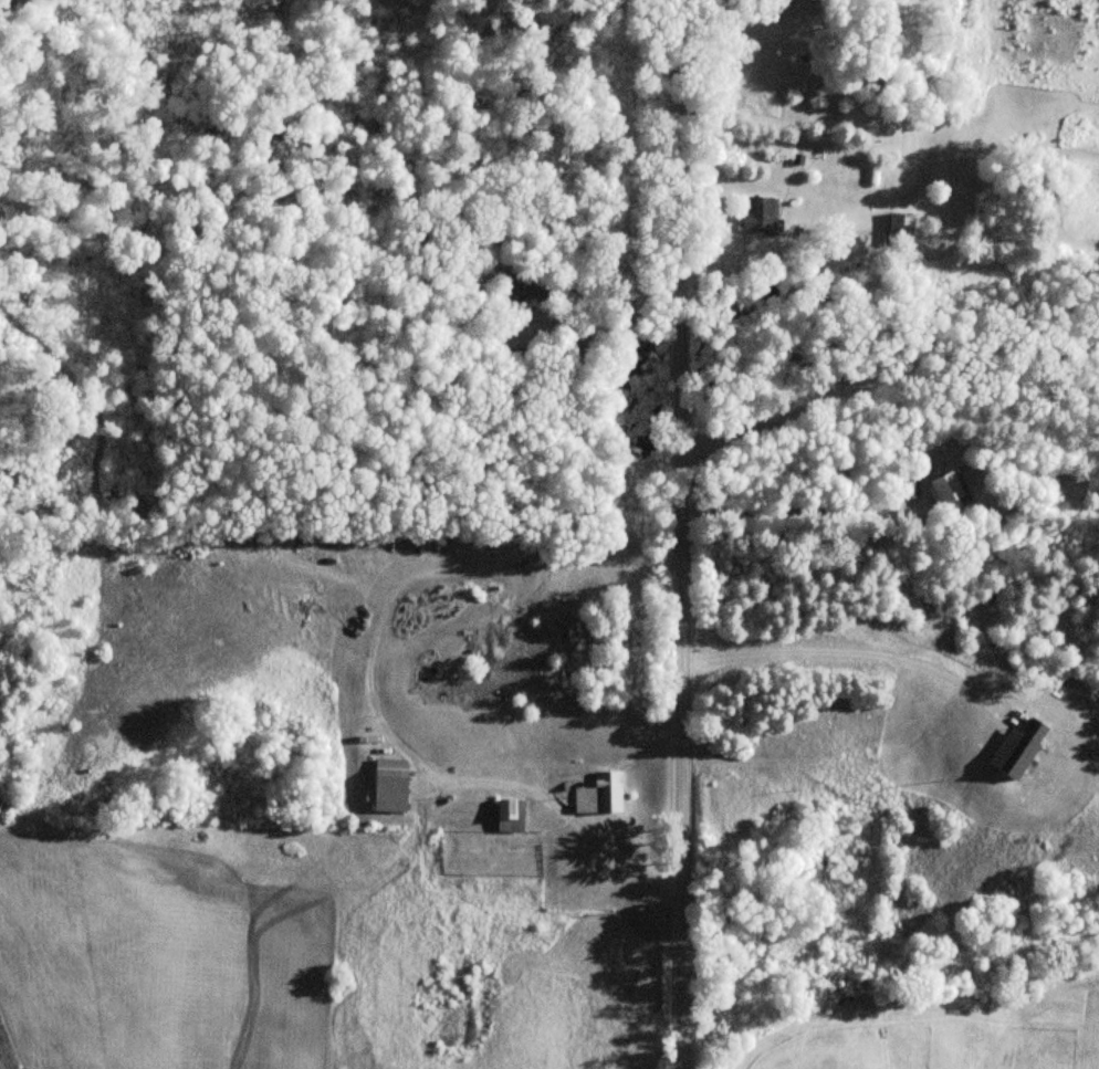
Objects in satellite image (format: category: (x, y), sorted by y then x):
building: (755, 216)
building: (899, 230)
building: (527, 291)
building: (906, 488)
building: (940, 490)
road: (678, 534)
building: (387, 786)
building: (598, 795)
building: (509, 816)

